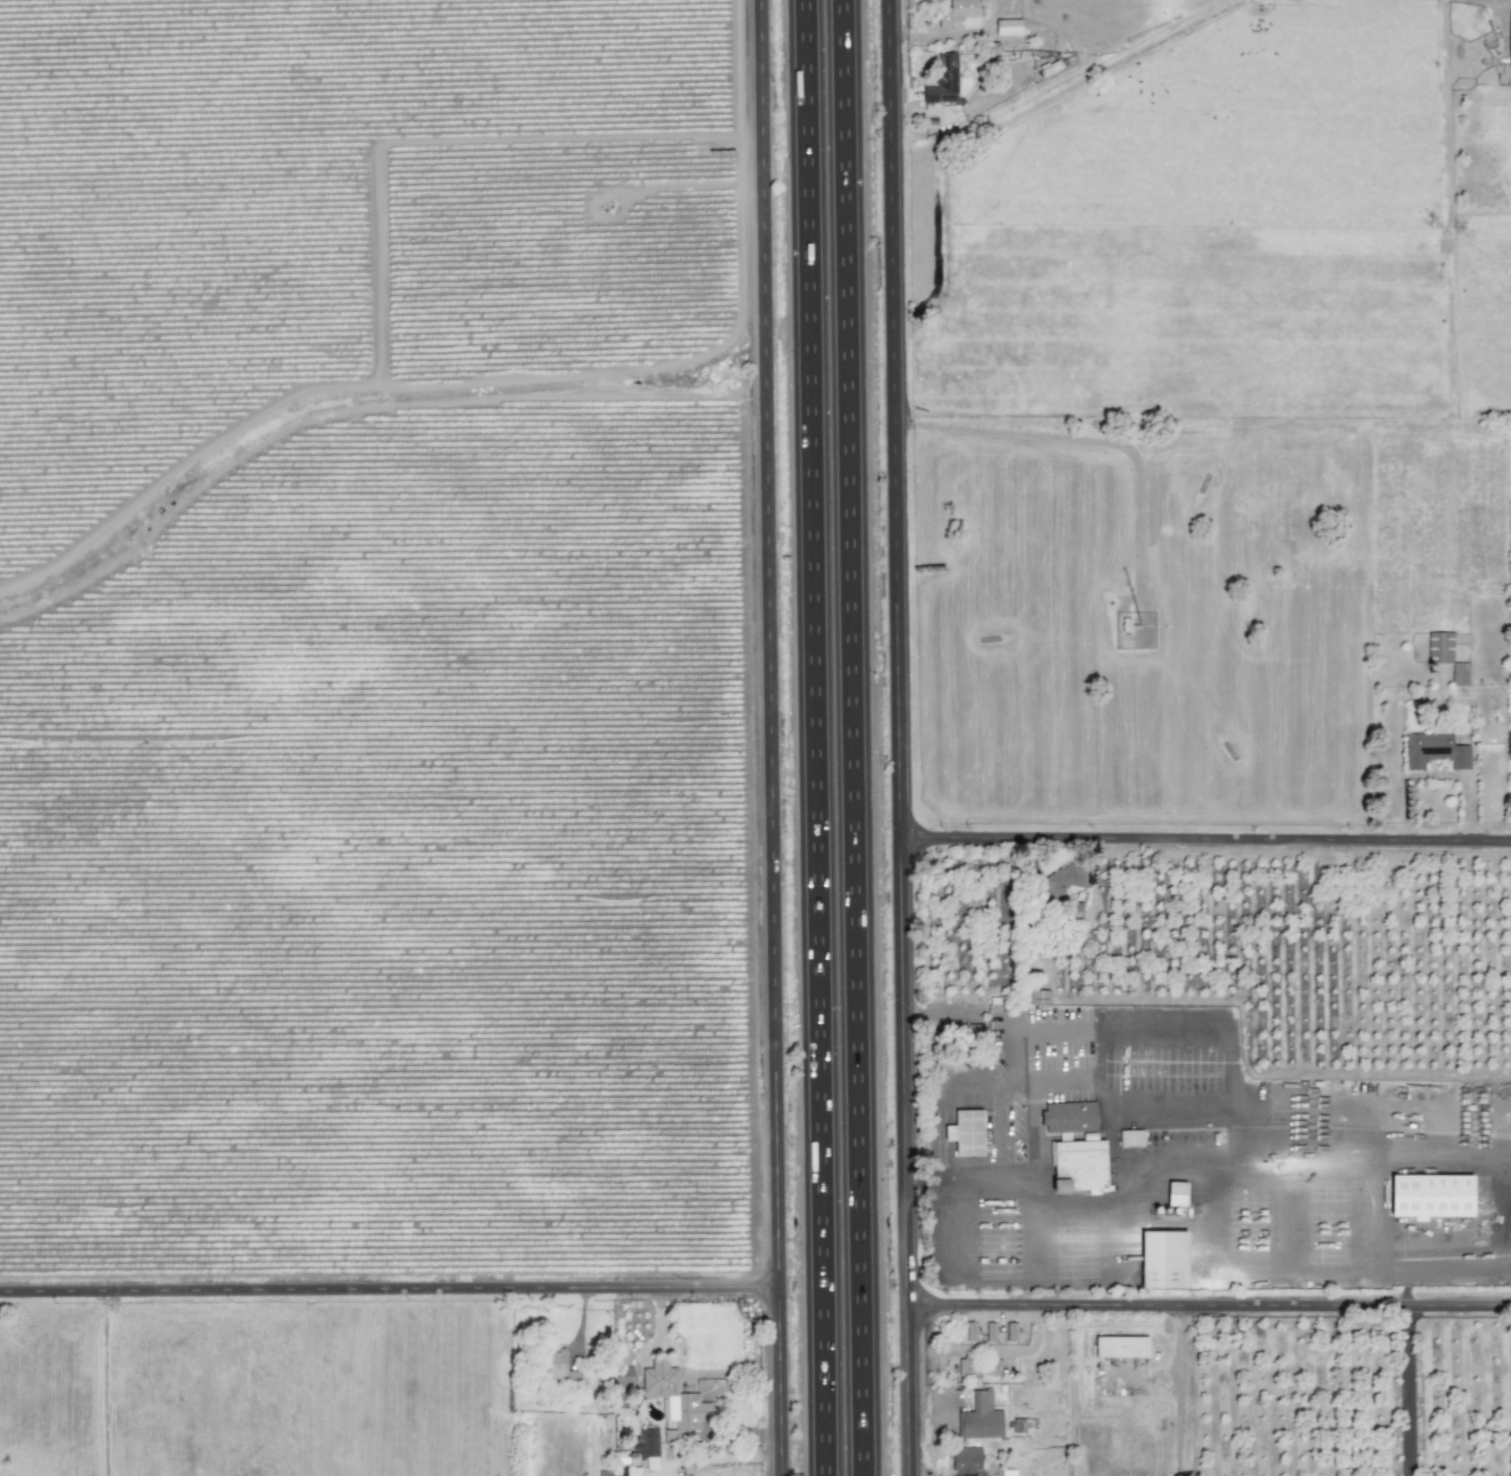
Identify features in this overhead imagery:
building: (959, 15)
building: (1007, 27)
building: (1509, 41)
building: (942, 78)
road: (1089, 442)
building: (1439, 647)
building: (1459, 674)
road: (773, 737)
road: (817, 737)
road: (900, 737)
road: (853, 738)
building: (1433, 751)
road: (1440, 776)
road: (1206, 839)
building: (1061, 883)
building: (1038, 997)
road: (1041, 1079)
building: (1068, 1117)
building: (965, 1133)
building: (984, 1135)
building: (1130, 1138)
building: (1093, 1168)
building: (1175, 1194)
building: (1444, 1198)
building: (1162, 1260)
road: (390, 1290)
road: (1209, 1306)
building: (970, 1331)
building: (990, 1331)
building: (1011, 1332)
building: (1120, 1347)
building: (966, 1367)
building: (990, 1367)
building: (559, 1368)
road: (1406, 1391)
building: (672, 1396)
building: (979, 1418)
building: (649, 1447)
building: (965, 1459)
building: (1007, 1472)
building: (612, 1473)

